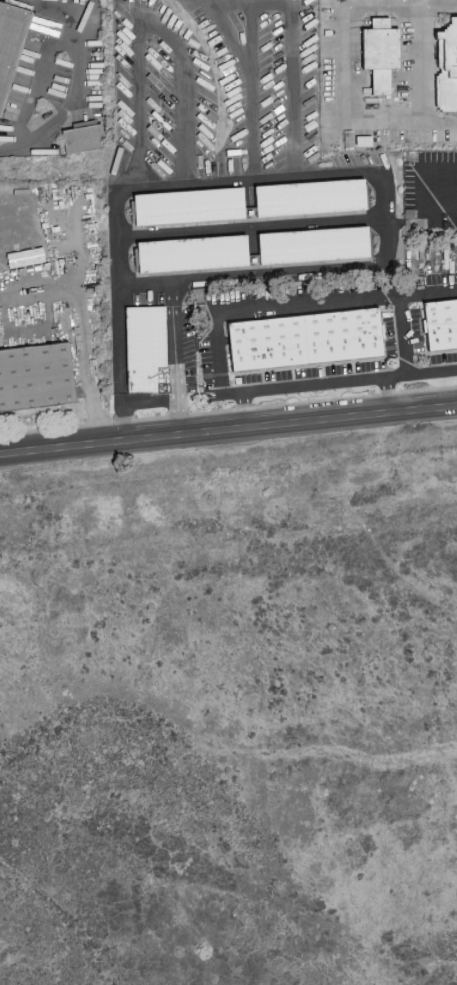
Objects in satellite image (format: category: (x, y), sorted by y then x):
road: (241, 3)
road: (145, 19)
building: (9, 35)
road: (250, 39)
building: (380, 52)
building: (448, 64)
road: (347, 65)
road: (421, 66)
road: (78, 78)
road: (36, 79)
building: (81, 137)
building: (353, 140)
road: (354, 169)
building: (309, 195)
building: (188, 205)
road: (249, 225)
road: (251, 225)
building: (312, 244)
building: (192, 253)
road: (140, 284)
road: (429, 294)
road: (311, 302)
road: (82, 305)
building: (441, 323)
building: (304, 337)
building: (145, 349)
road: (433, 373)
building: (34, 374)
road: (313, 384)
road: (147, 403)
road: (97, 423)
road: (228, 429)

